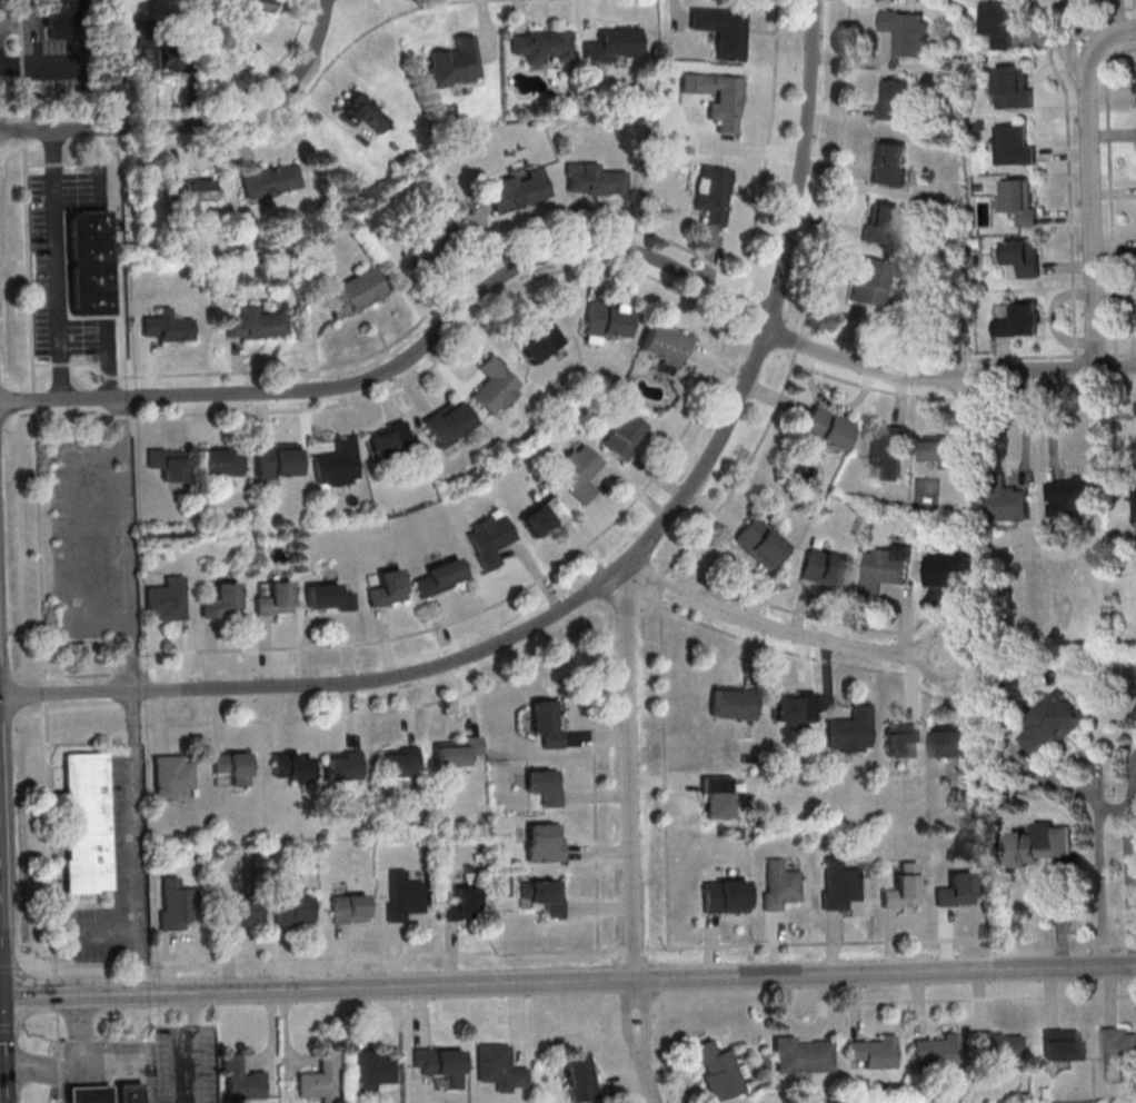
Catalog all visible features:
road: (20, 4)
building: (250, 8)
road: (1075, 13)
road: (1117, 17)
road: (21, 19)
building: (66, 19)
building: (997, 24)
building: (723, 30)
building: (907, 31)
road: (1112, 37)
road: (1070, 38)
road: (1042, 40)
road: (22, 43)
building: (611, 43)
building: (540, 44)
building: (146, 47)
building: (171, 51)
building: (455, 62)
road: (22, 68)
road: (1043, 72)
building: (1014, 89)
road: (242, 90)
building: (717, 97)
road: (1060, 97)
road: (23, 98)
building: (896, 99)
building: (362, 112)
road: (286, 113)
road: (198, 127)
road: (24, 129)
road: (1112, 135)
road: (1067, 145)
building: (1014, 146)
road: (1064, 152)
road: (54, 162)
road: (36, 163)
building: (890, 163)
building: (594, 179)
building: (270, 180)
building: (189, 189)
building: (519, 189)
building: (711, 192)
road: (1108, 192)
road: (1113, 192)
building: (1019, 202)
road: (1090, 210)
road: (1066, 213)
building: (880, 222)
building: (428, 240)
road: (527, 244)
road: (1114, 246)
road: (560, 252)
building: (1025, 258)
building: (89, 261)
road: (29, 262)
road: (58, 266)
road: (1068, 267)
building: (867, 281)
building: (355, 292)
road: (1116, 299)
road: (807, 306)
road: (1053, 318)
building: (604, 319)
building: (257, 322)
building: (1020, 324)
building: (167, 326)
building: (537, 341)
building: (664, 346)
road: (1123, 352)
road: (1133, 354)
road: (1028, 356)
road: (1004, 358)
road: (42, 362)
road: (61, 362)
road: (1132, 380)
building: (495, 385)
road: (747, 385)
road: (875, 388)
road: (899, 395)
road: (775, 396)
road: (33, 399)
road: (961, 400)
road: (831, 404)
road: (698, 405)
road: (119, 416)
road: (109, 417)
building: (447, 421)
road: (1050, 424)
road: (1023, 426)
building: (825, 433)
building: (622, 435)
building: (386, 439)
building: (948, 448)
building: (889, 450)
building: (276, 459)
building: (219, 460)
building: (168, 463)
building: (336, 464)
building: (576, 471)
building: (1072, 497)
building: (1006, 499)
road: (710, 513)
building: (541, 516)
building: (488, 540)
road: (127, 545)
building: (759, 545)
road: (40, 547)
road: (739, 560)
building: (887, 568)
building: (825, 569)
building: (949, 570)
building: (438, 577)
building: (386, 587)
building: (327, 597)
building: (166, 599)
building: (275, 599)
building: (220, 602)
road: (949, 605)
road: (794, 610)
road: (800, 610)
road: (905, 612)
road: (766, 627)
road: (751, 655)
road: (967, 656)
road: (816, 658)
road: (806, 664)
road: (325, 685)
road: (913, 687)
road: (46, 693)
road: (969, 696)
building: (731, 705)
building: (791, 709)
road: (373, 713)
building: (1134, 714)
building: (1052, 723)
building: (545, 724)
road: (136, 725)
road: (592, 726)
building: (849, 732)
road: (597, 738)
building: (901, 741)
road: (89, 743)
building: (958, 743)
building: (458, 753)
road: (1086, 756)
road: (664, 761)
building: (399, 762)
building: (342, 765)
building: (290, 766)
building: (231, 767)
road: (1135, 772)
building: (171, 776)
road: (662, 781)
building: (544, 786)
building: (715, 795)
road: (598, 796)
road: (1112, 808)
building: (86, 823)
road: (1097, 832)
building: (736, 833)
road: (50, 838)
road: (139, 841)
building: (542, 844)
building: (1037, 844)
road: (600, 853)
road: (632, 858)
road: (596, 870)
road: (1129, 874)
building: (778, 884)
building: (838, 884)
building: (901, 887)
building: (955, 890)
building: (542, 894)
building: (401, 895)
building: (723, 896)
building: (176, 904)
building: (460, 905)
building: (348, 908)
road: (600, 908)
building: (291, 910)
building: (239, 913)
road: (1062, 915)
road: (946, 940)
road: (890, 941)
road: (815, 944)
road: (833, 944)
road: (773, 945)
road: (710, 947)
road: (635, 950)
road: (387, 956)
road: (141, 963)
road: (94, 964)
road: (885, 970)
road: (634, 980)
road: (446, 983)
road: (129, 992)
road: (56, 993)
road: (1049, 994)
road: (1109, 994)
road: (980, 995)
road: (979, 1000)
road: (918, 1002)
road: (783, 1003)
road: (855, 1003)
road: (419, 1013)
road: (823, 1016)
road: (518, 1021)
road: (10, 1026)
road: (80, 1032)
road: (58, 1033)
road: (271, 1033)
road: (286, 1035)
road: (47, 1039)
road: (126, 1039)
road: (86, 1040)
building: (1058, 1044)
road: (191, 1046)
building: (1117, 1047)
building: (995, 1049)
building: (934, 1051)
building: (870, 1053)
building: (800, 1055)
building: (438, 1060)
road: (667, 1064)
building: (498, 1066)
road: (53, 1069)
building: (371, 1069)
road: (60, 1071)
building: (719, 1072)
building: (577, 1076)
road: (645, 1076)
building: (320, 1077)
building: (240, 1080)
road: (686, 1080)
road: (624, 1082)
building: (103, 1092)
road: (60, 1094)

